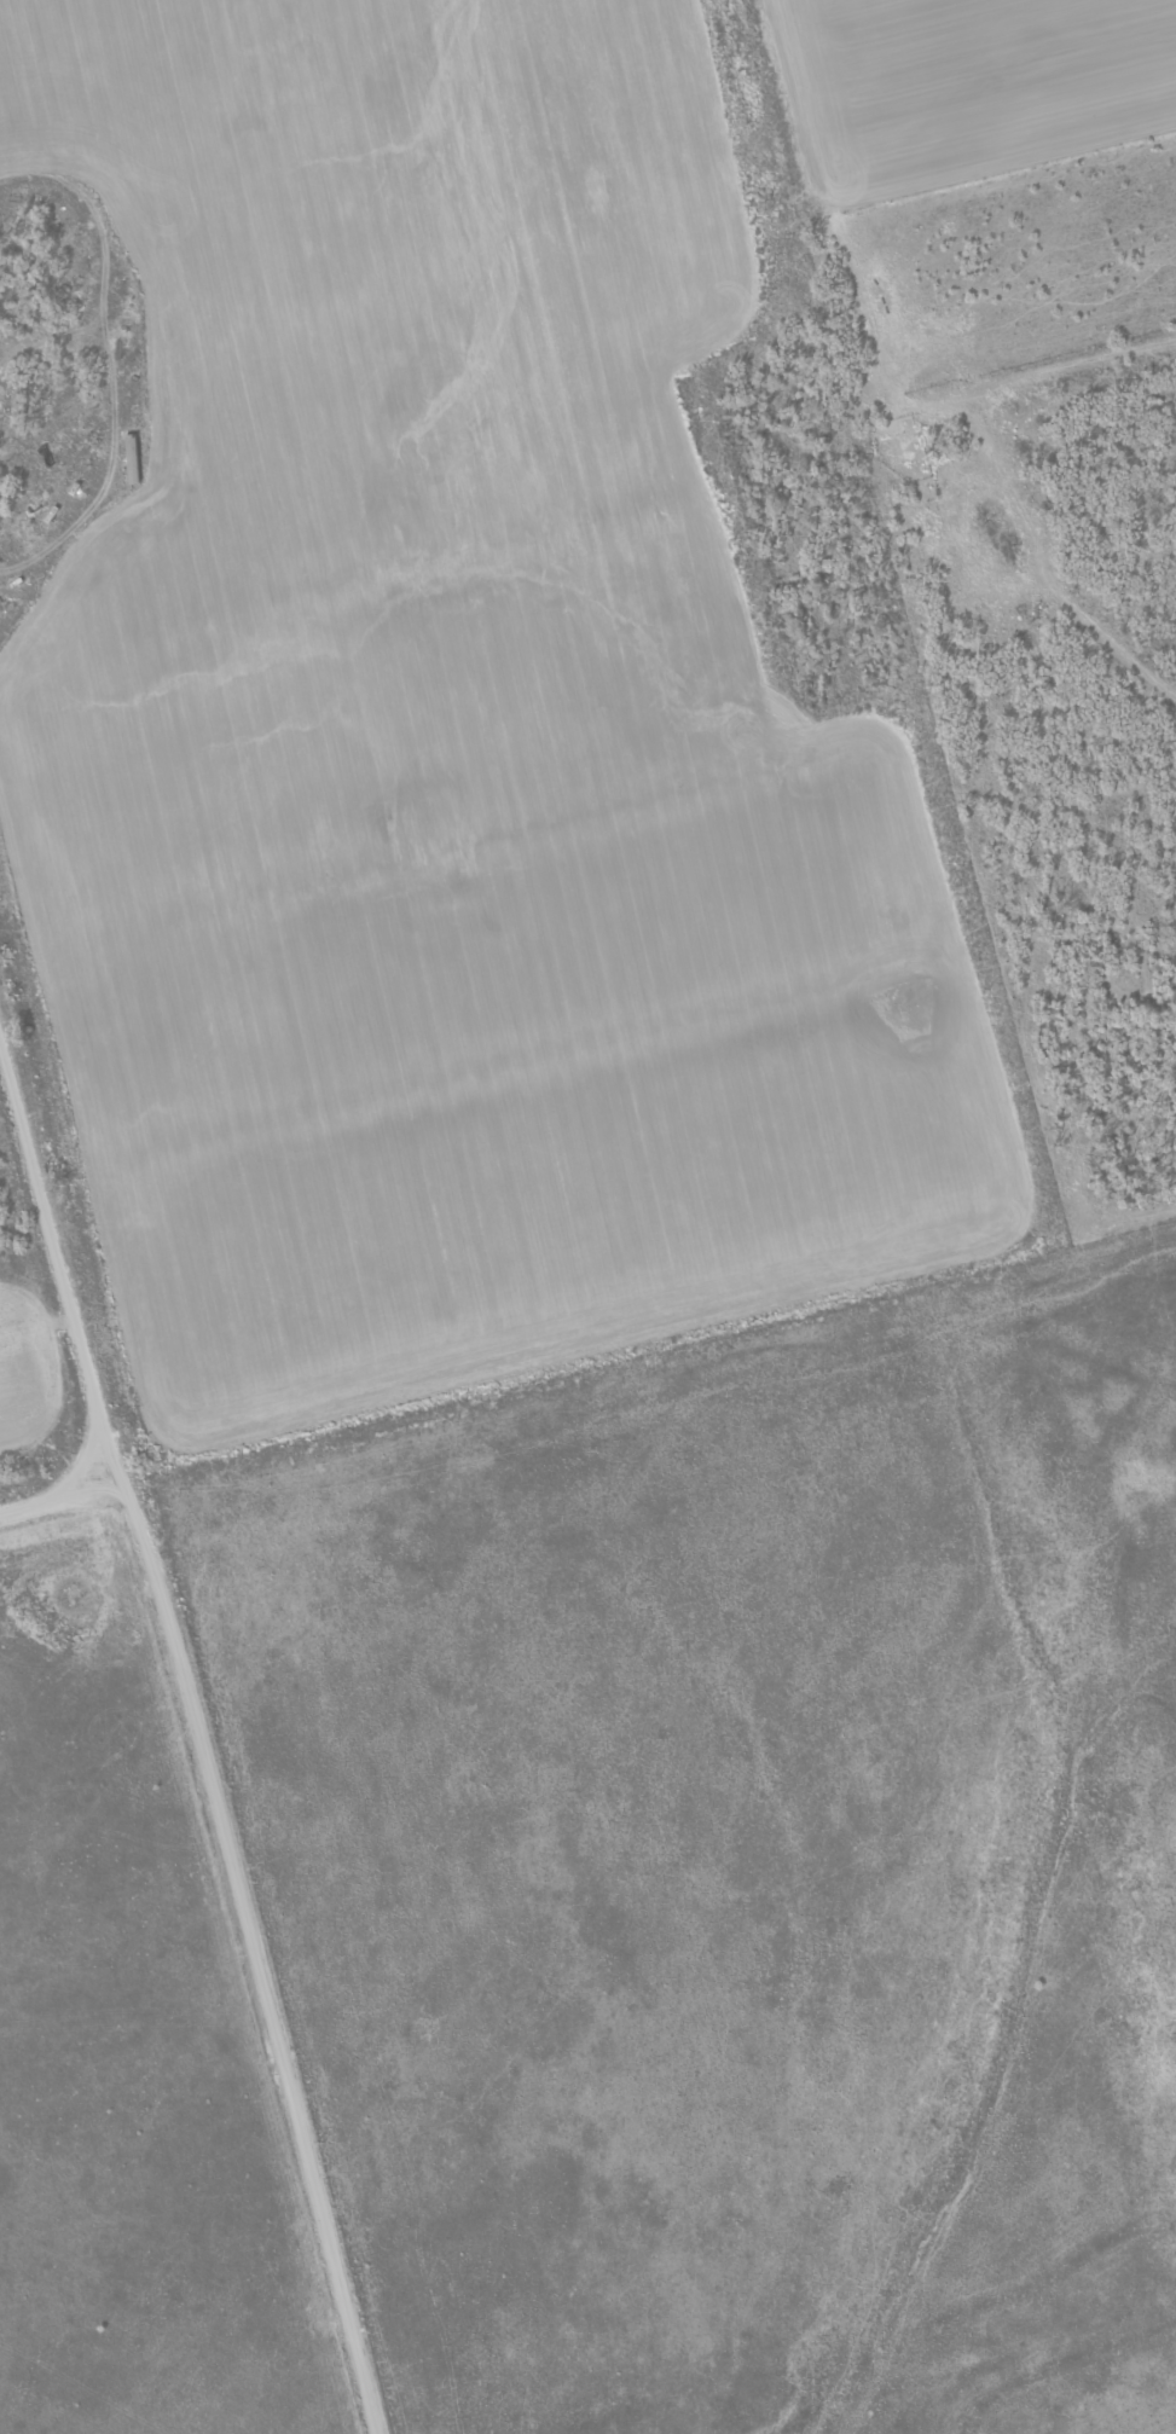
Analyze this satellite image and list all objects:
road: (59, 1494)
road: (201, 1742)

